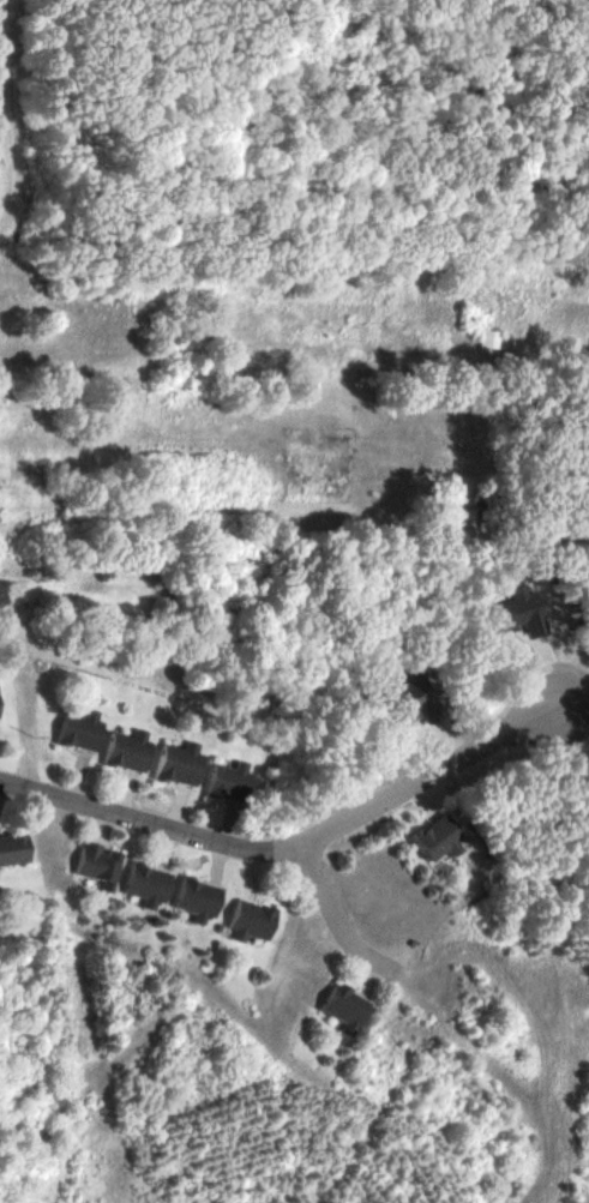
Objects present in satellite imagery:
building: (489, 339)
building: (522, 613)
building: (425, 698)
building: (79, 732)
building: (127, 752)
building: (179, 765)
building: (229, 782)
building: (440, 838)
road: (297, 846)
building: (14, 850)
building: (97, 866)
building: (146, 886)
building: (198, 901)
road: (345, 915)
building: (252, 922)
building: (344, 1010)

